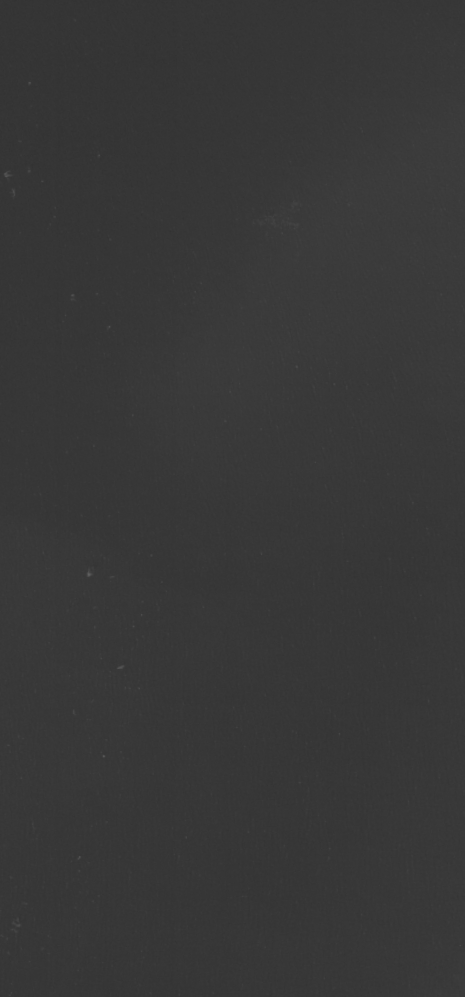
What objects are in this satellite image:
river: (178, 255)

